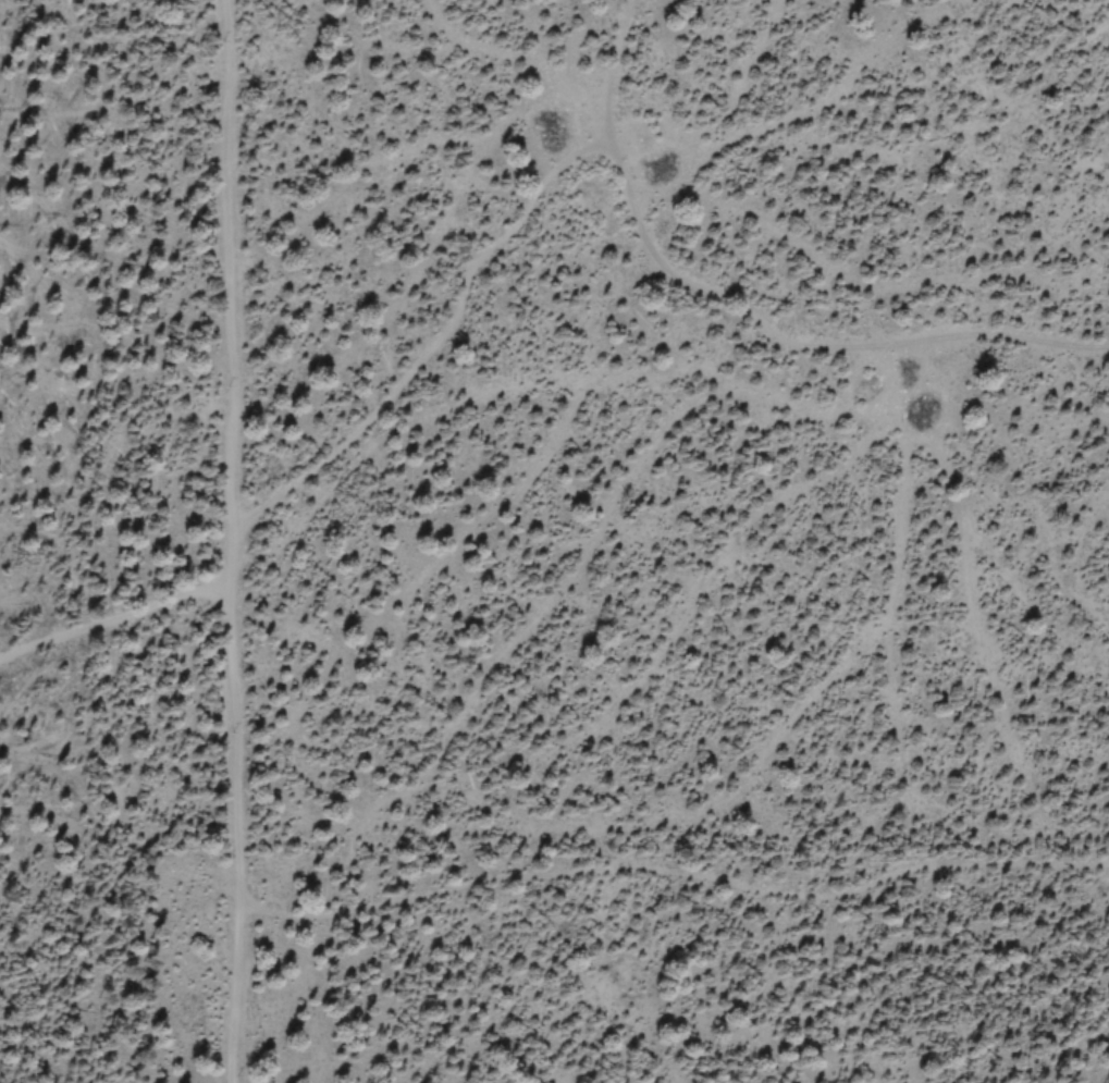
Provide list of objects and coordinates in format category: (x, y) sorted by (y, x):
road: (739, 319)
road: (440, 347)
road: (232, 541)
road: (111, 622)
road: (677, 881)

